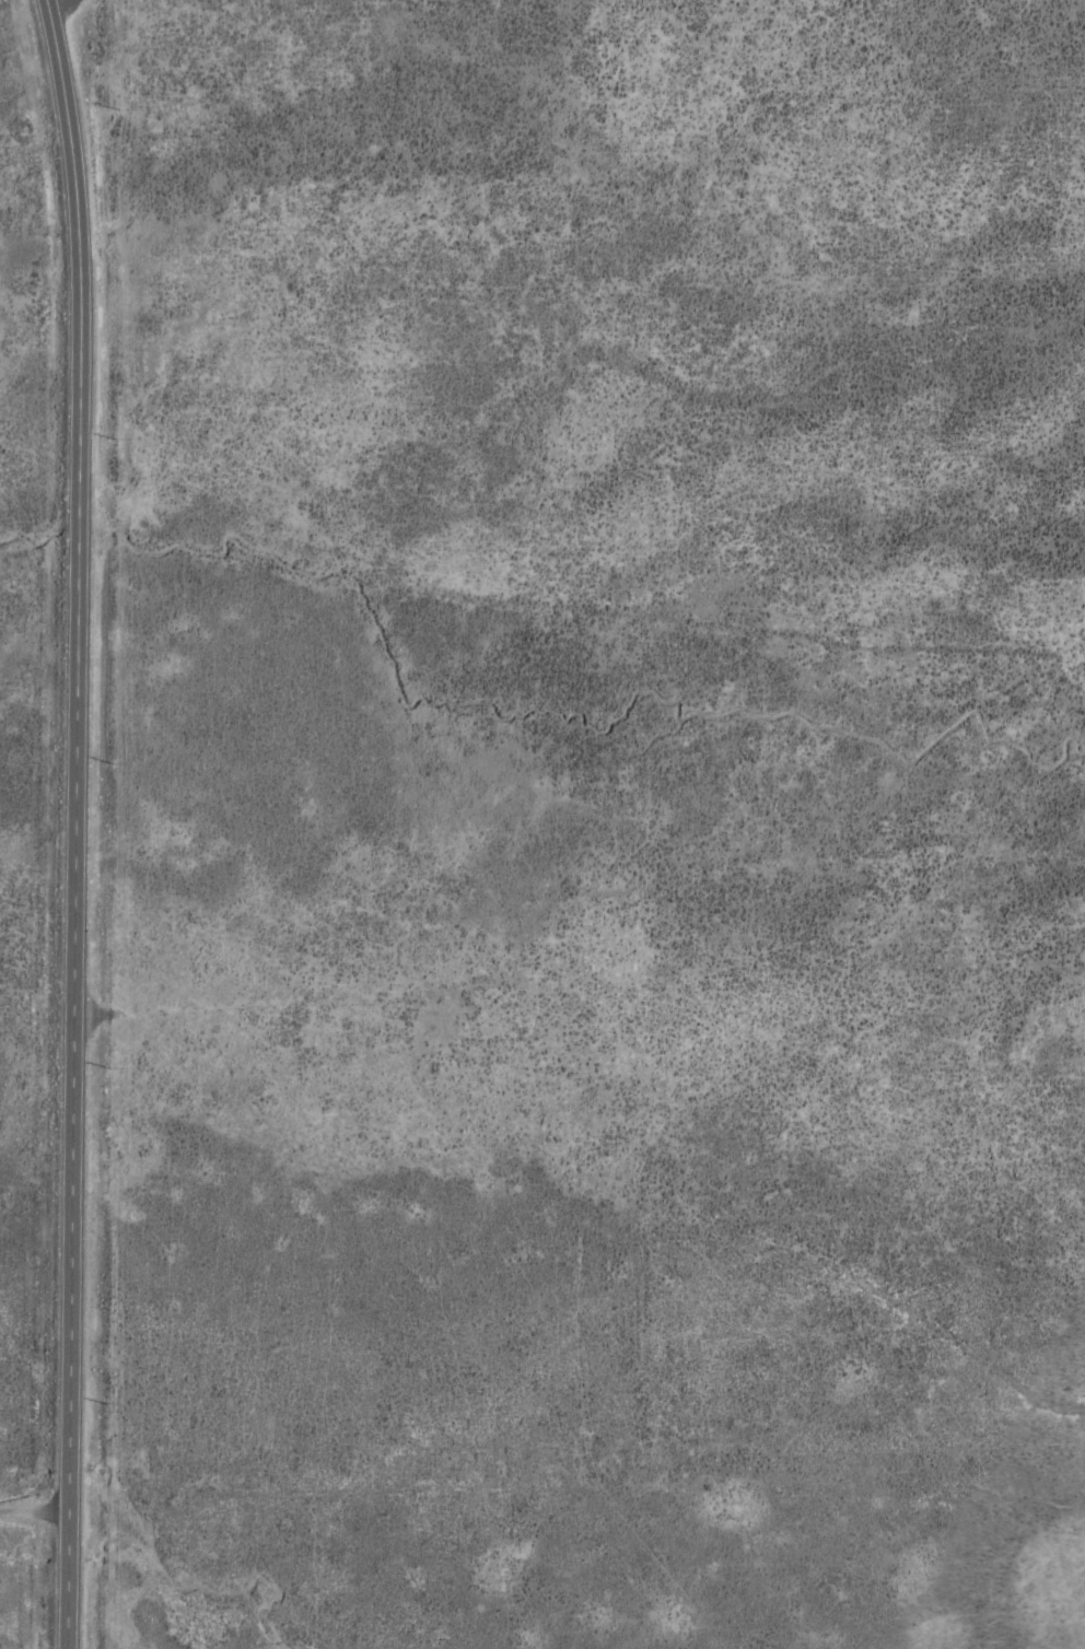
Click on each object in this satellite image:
road: (58, 25)
road: (70, 822)
crop: (542, 824)
road: (32, 1540)

